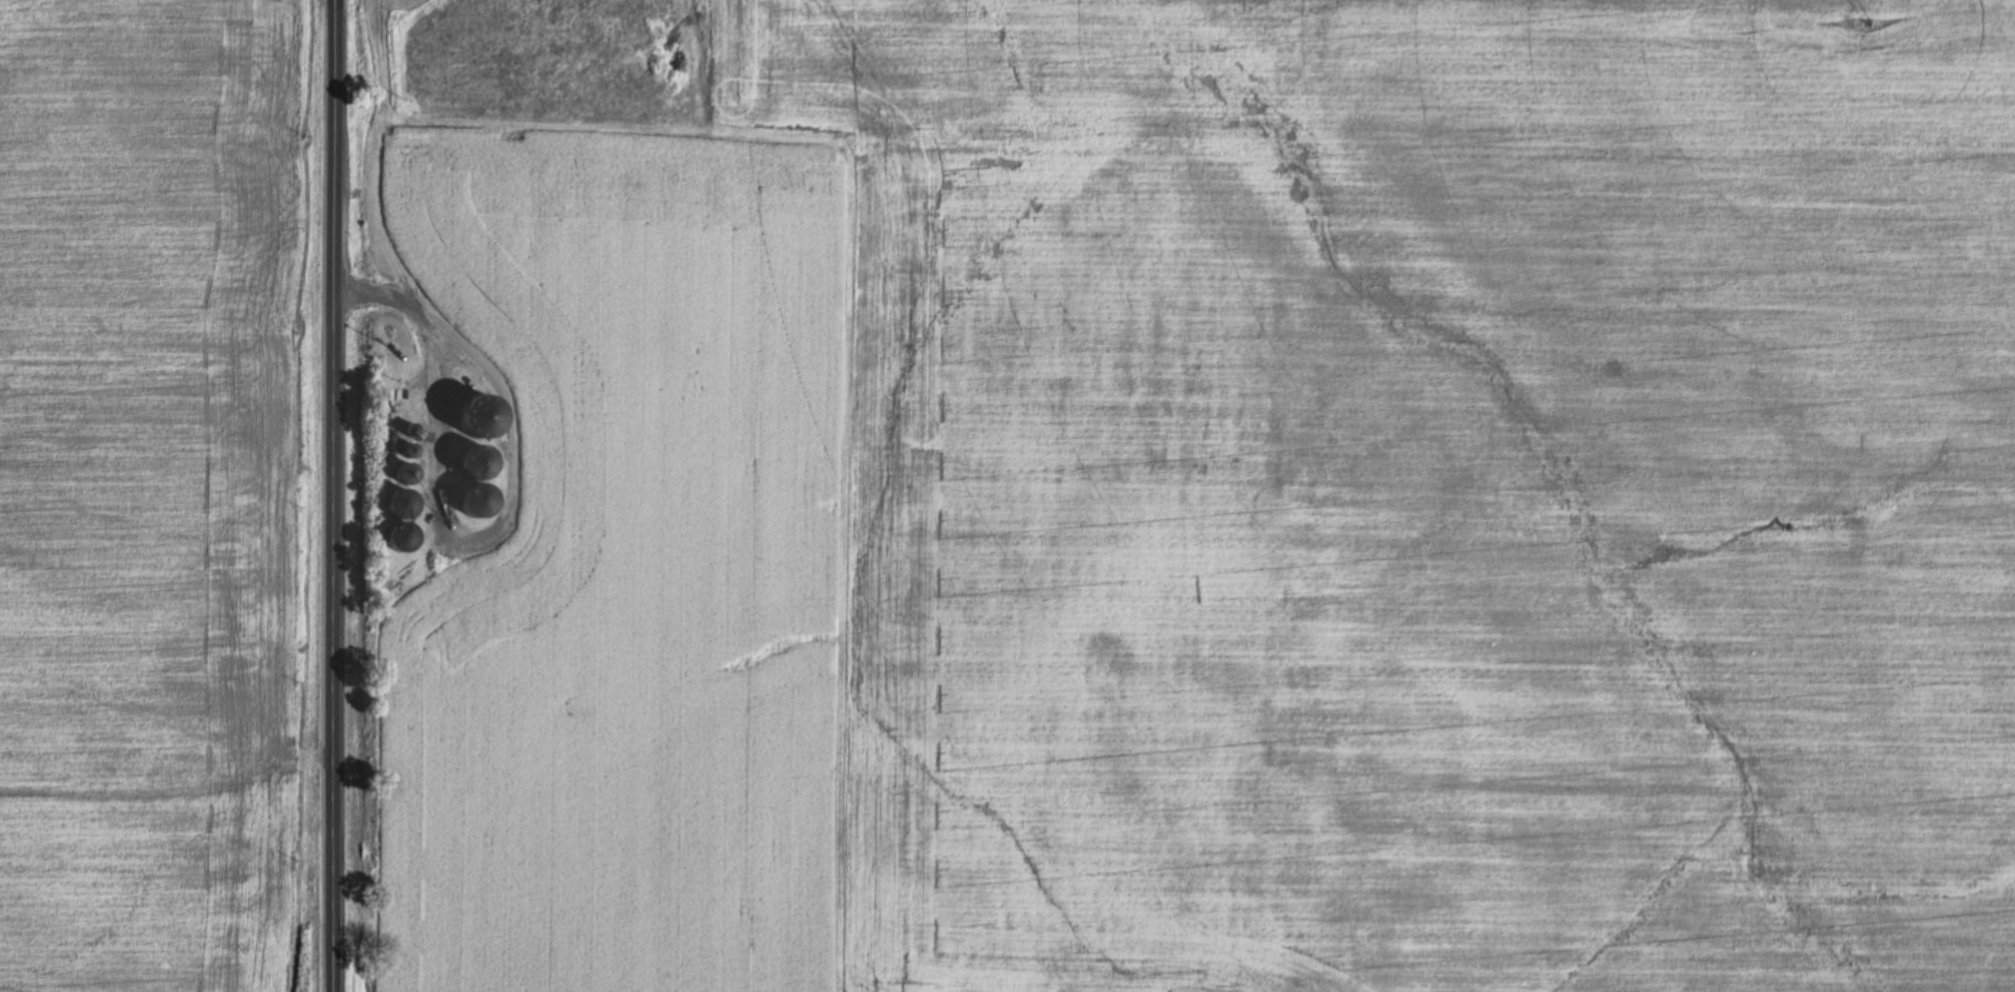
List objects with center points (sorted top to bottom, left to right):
silo: (400, 428)
silo: (403, 449)
silo: (467, 459)
building: (468, 460)
silo: (399, 472)
building: (402, 472)
road: (336, 495)
silo: (468, 498)
building: (473, 498)
silo: (392, 503)
building: (395, 517)
silo: (391, 535)

